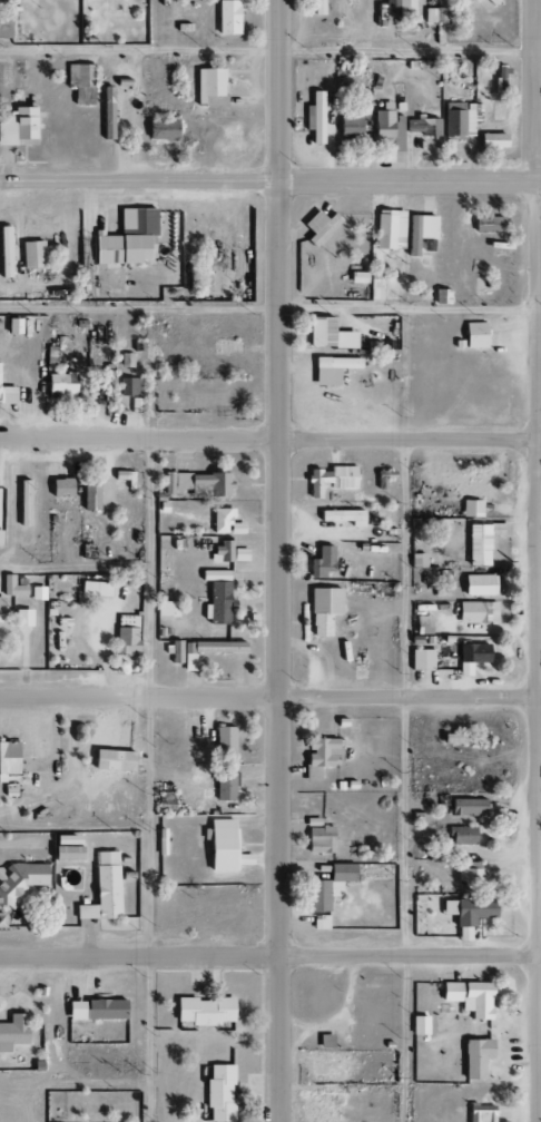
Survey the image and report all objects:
building: (472, 1)
building: (492, 1)
building: (316, 7)
building: (400, 10)
building: (227, 17)
building: (4, 26)
road: (269, 50)
building: (79, 82)
building: (208, 87)
building: (106, 114)
building: (315, 117)
building: (460, 118)
building: (350, 121)
building: (17, 126)
building: (421, 126)
building: (388, 128)
building: (161, 130)
building: (491, 140)
road: (270, 180)
building: (488, 223)
building: (318, 226)
building: (388, 229)
building: (420, 234)
building: (4, 253)
building: (35, 255)
building: (356, 277)
building: (374, 285)
building: (441, 296)
road: (270, 308)
building: (16, 326)
building: (328, 334)
building: (473, 335)
building: (126, 360)
building: (332, 368)
building: (59, 383)
building: (130, 385)
building: (7, 395)
building: (136, 404)
road: (270, 439)
building: (383, 476)
building: (331, 480)
building: (198, 484)
building: (473, 486)
building: (60, 488)
building: (89, 494)
building: (22, 503)
building: (471, 508)
building: (342, 516)
building: (220, 519)
building: (235, 528)
building: (482, 541)
building: (227, 552)
building: (416, 560)
road: (281, 561)
building: (323, 561)
road: (538, 561)
road: (75, 567)
building: (478, 584)
building: (11, 587)
building: (95, 589)
building: (37, 593)
building: (217, 594)
building: (1, 609)
building: (166, 609)
building: (322, 609)
building: (476, 612)
building: (22, 618)
building: (422, 624)
building: (126, 636)
building: (175, 651)
building: (206, 651)
building: (471, 657)
building: (420, 659)
road: (270, 693)
building: (463, 739)
building: (224, 741)
building: (319, 757)
building: (7, 758)
road: (150, 780)
road: (405, 781)
building: (225, 786)
building: (468, 807)
building: (463, 835)
building: (317, 837)
building: (65, 840)
building: (219, 845)
building: (65, 853)
building: (470, 874)
building: (20, 878)
building: (328, 886)
building: (101, 889)
building: (472, 911)
building: (1, 921)
building: (463, 934)
road: (270, 955)
building: (468, 997)
building: (95, 1010)
building: (204, 1011)
building: (419, 1025)
building: (12, 1032)
building: (324, 1041)
building: (474, 1057)
building: (327, 1067)
building: (218, 1093)
building: (324, 1109)
building: (480, 1113)

